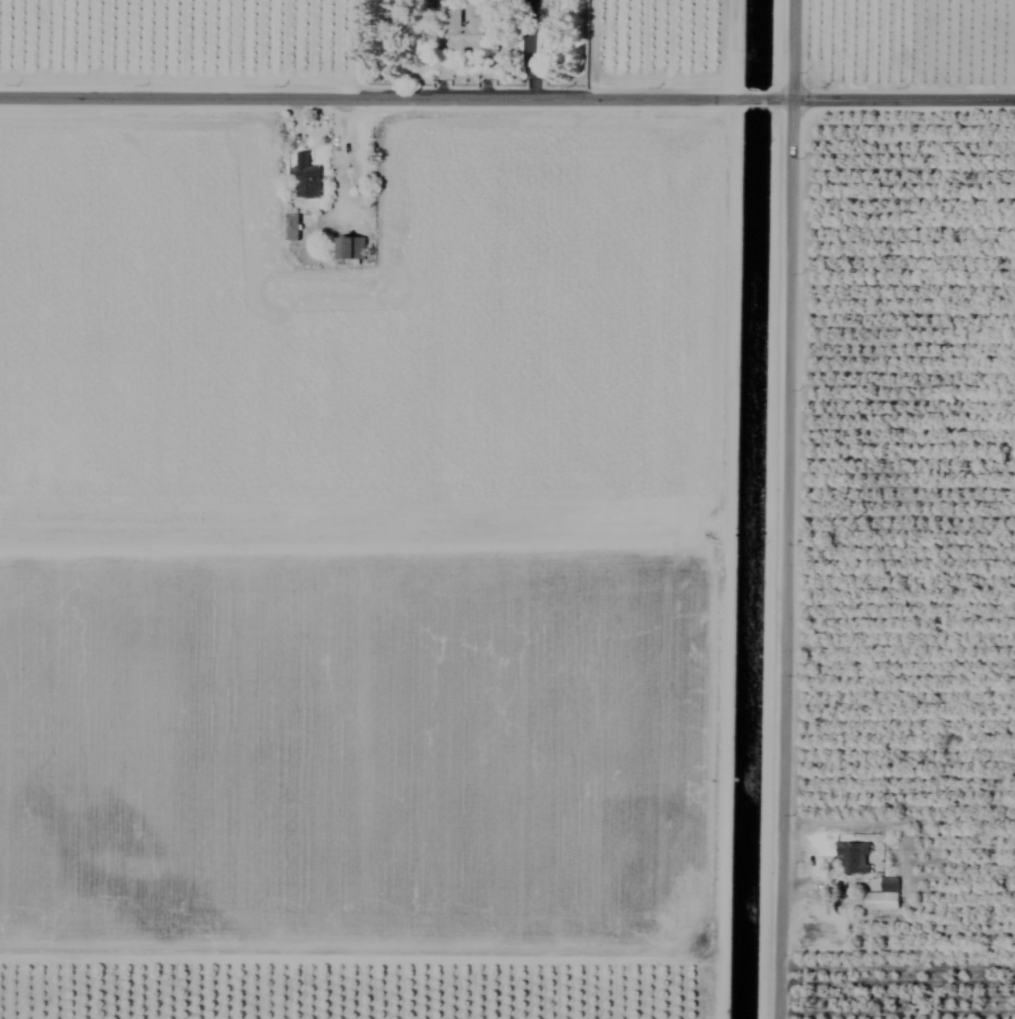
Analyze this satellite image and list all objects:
building: (460, 29)
road: (730, 49)
road: (371, 96)
road: (757, 98)
road: (893, 98)
road: (339, 156)
building: (305, 177)
building: (291, 227)
building: (351, 248)
crop: (507, 509)
road: (786, 509)
building: (851, 858)
building: (883, 896)

